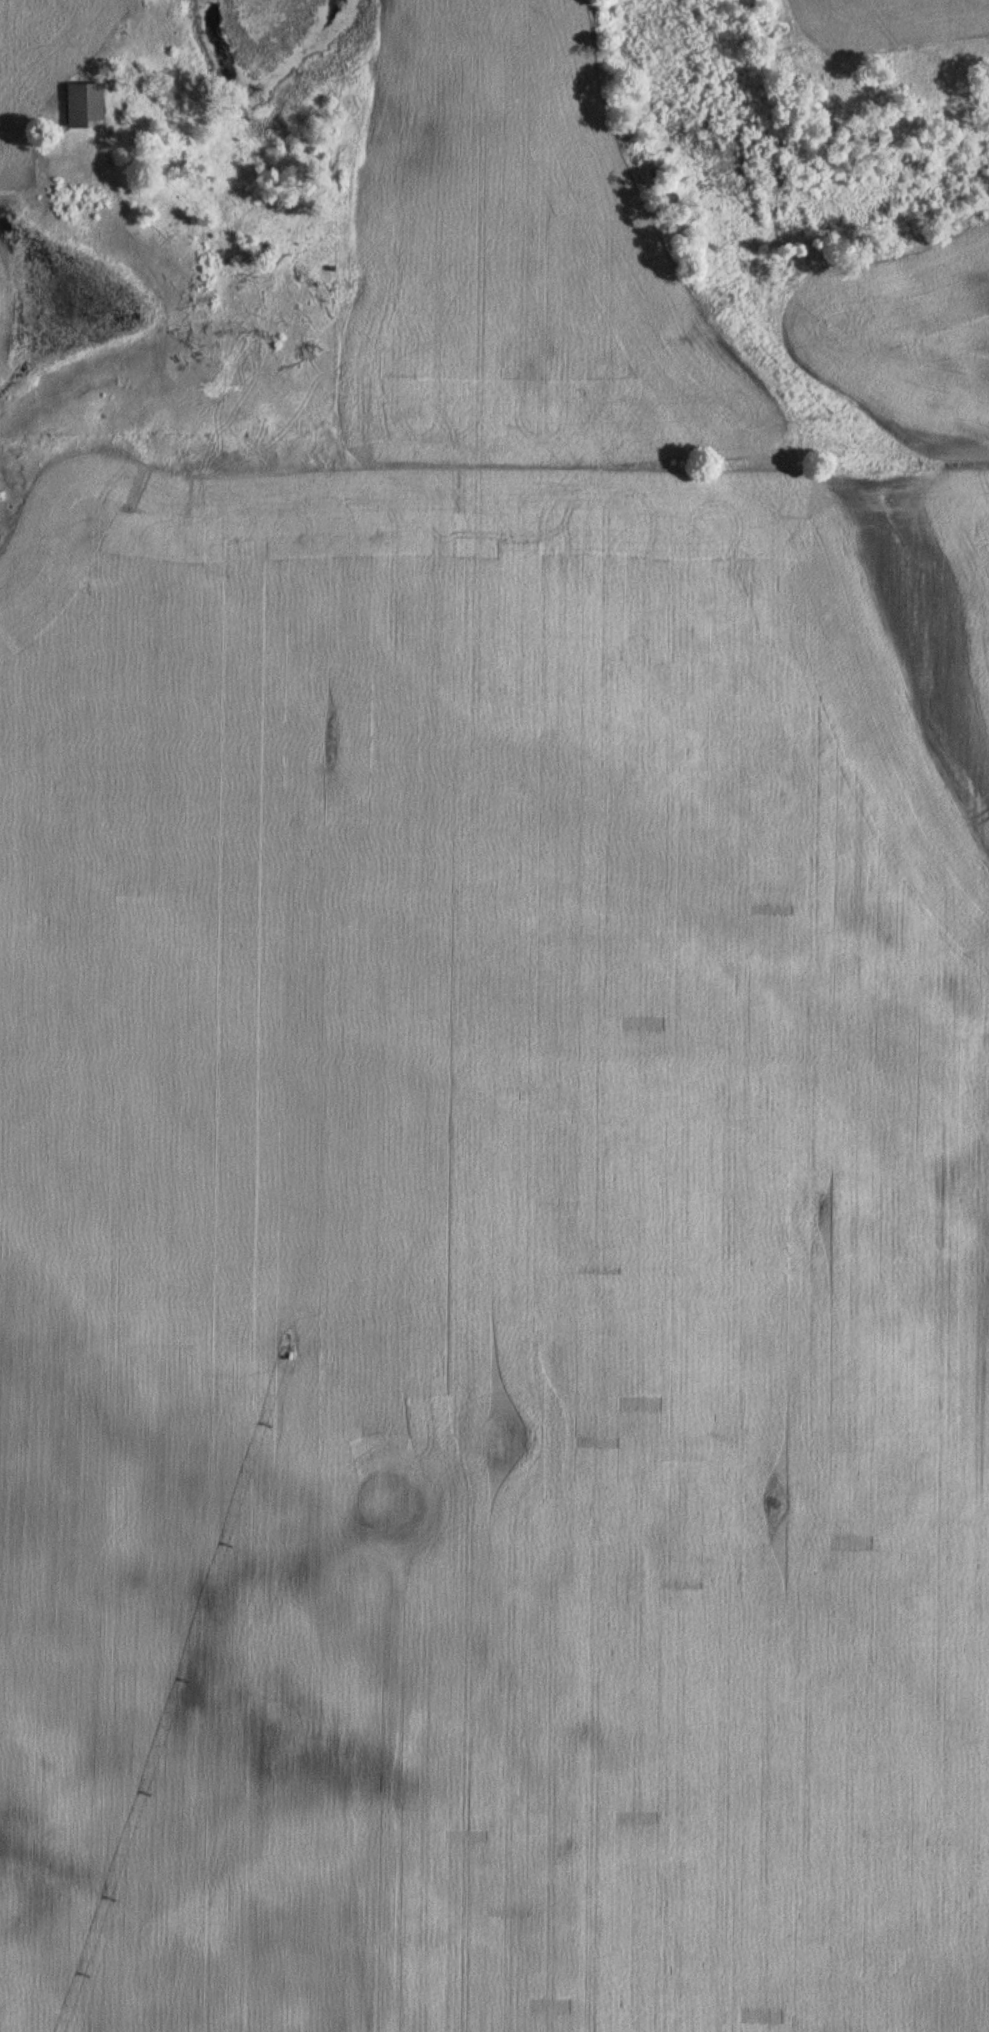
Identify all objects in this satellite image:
building: (84, 106)
road: (5, 127)

